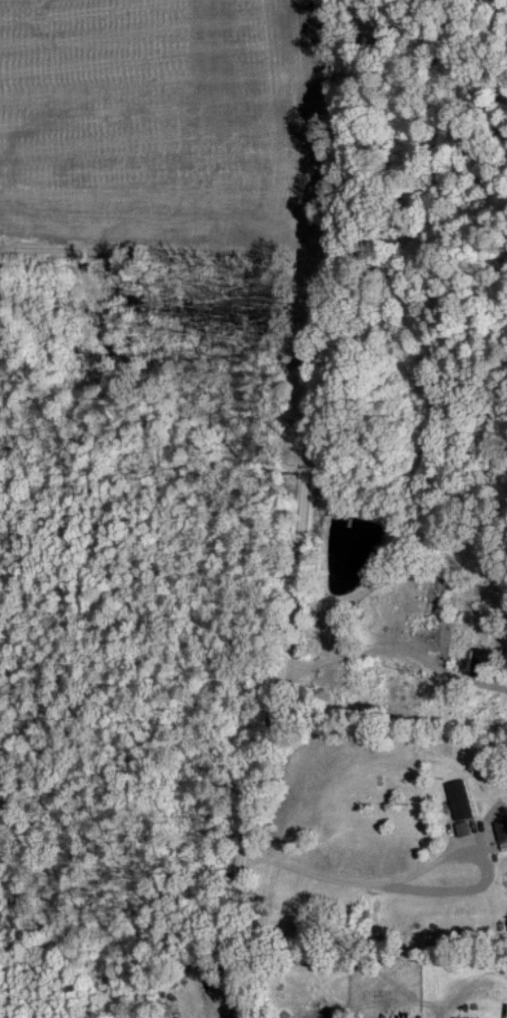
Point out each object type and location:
road: (310, 512)
building: (460, 799)
building: (463, 828)
building: (502, 833)

